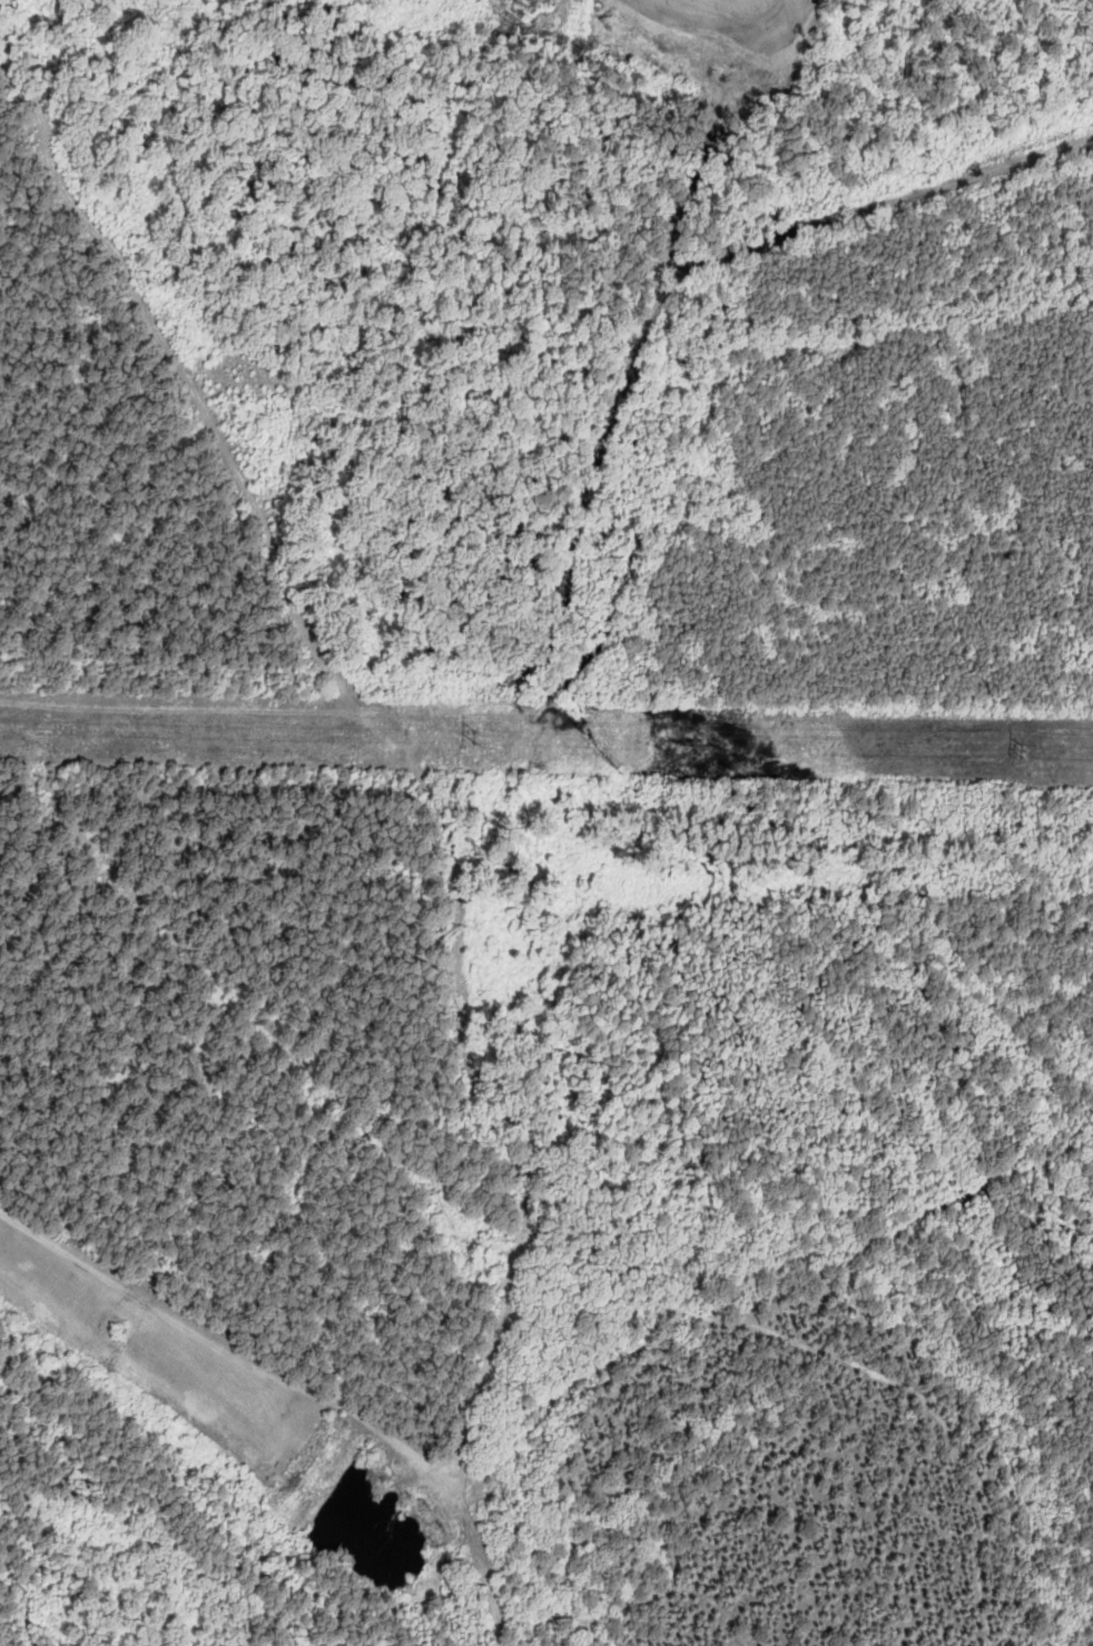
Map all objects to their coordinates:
power tower: (477, 730)
power tower: (1025, 750)

